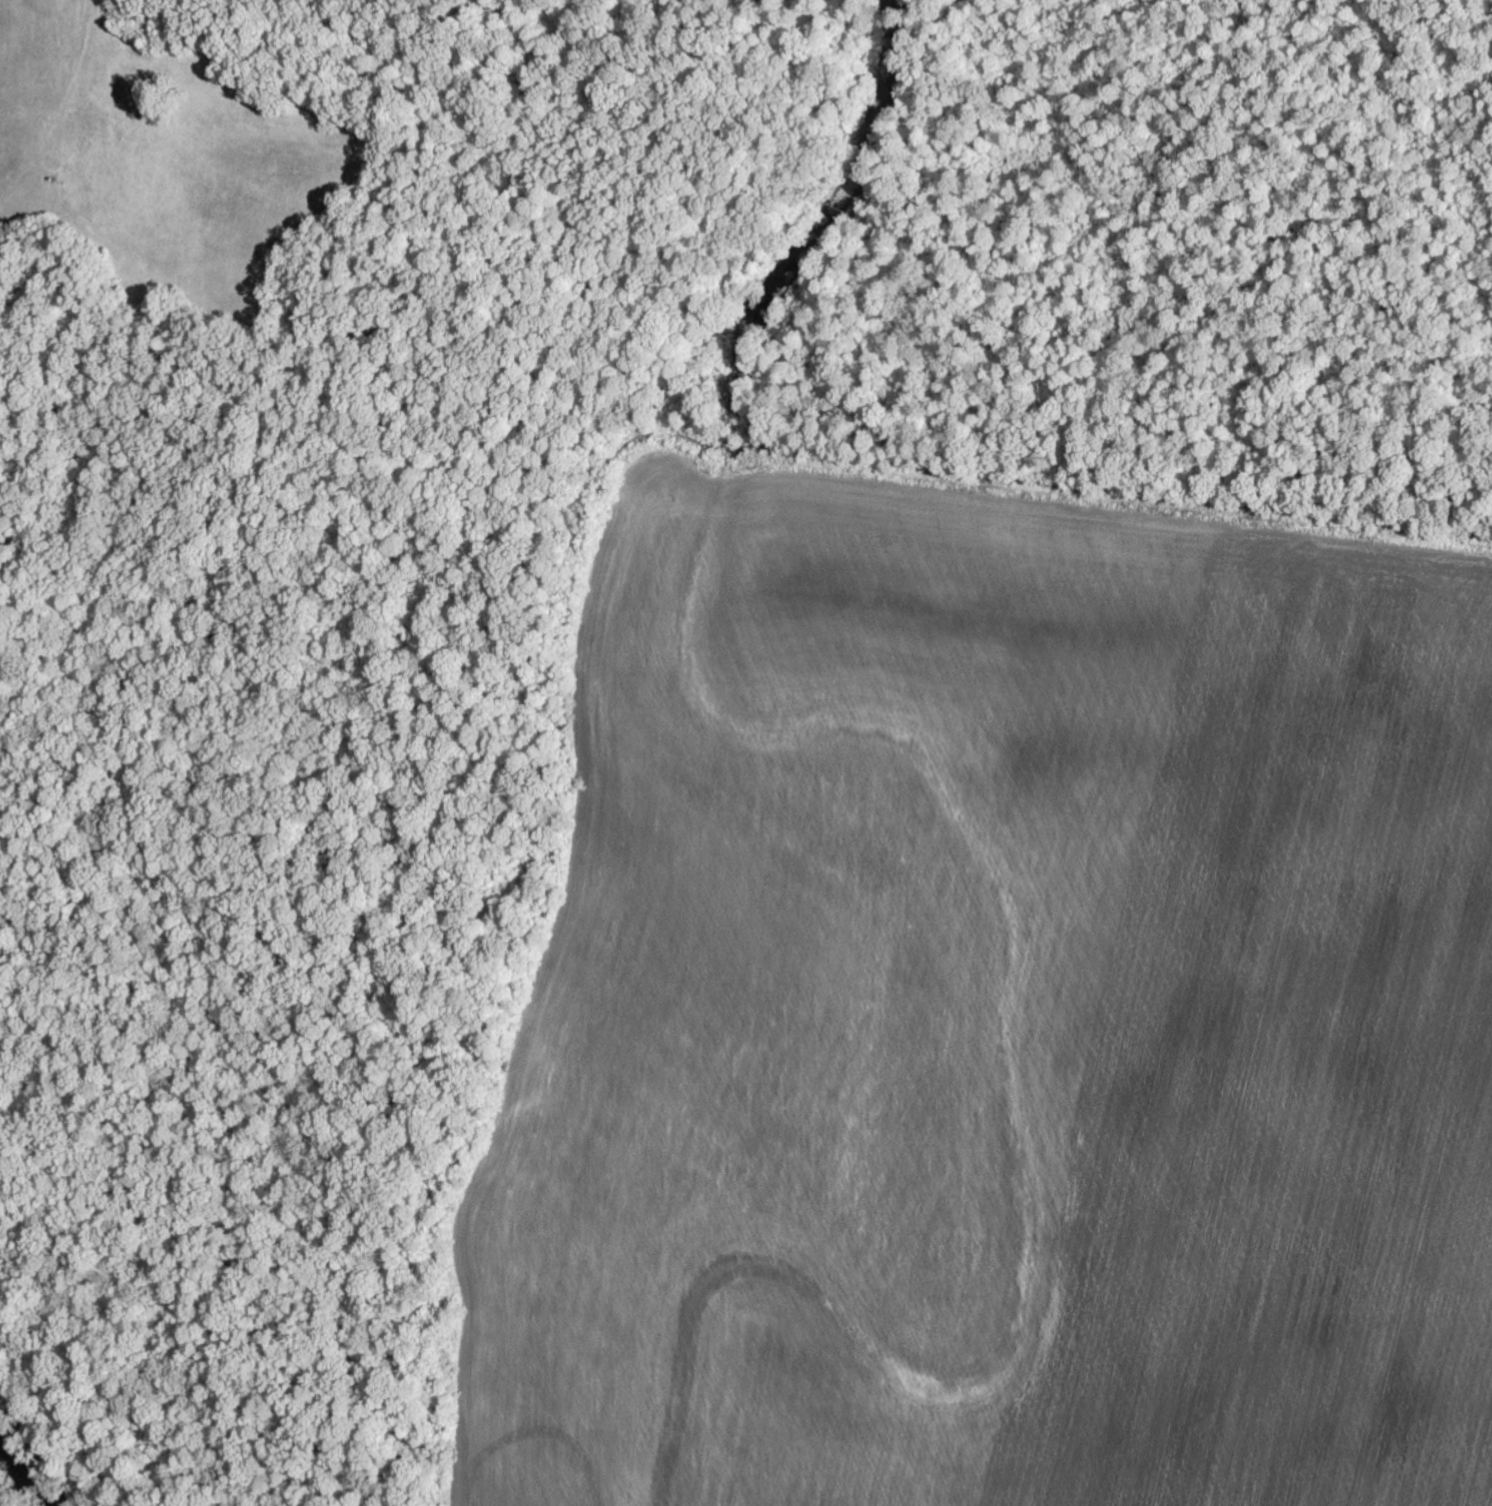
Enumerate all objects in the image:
road: (5, 16)

